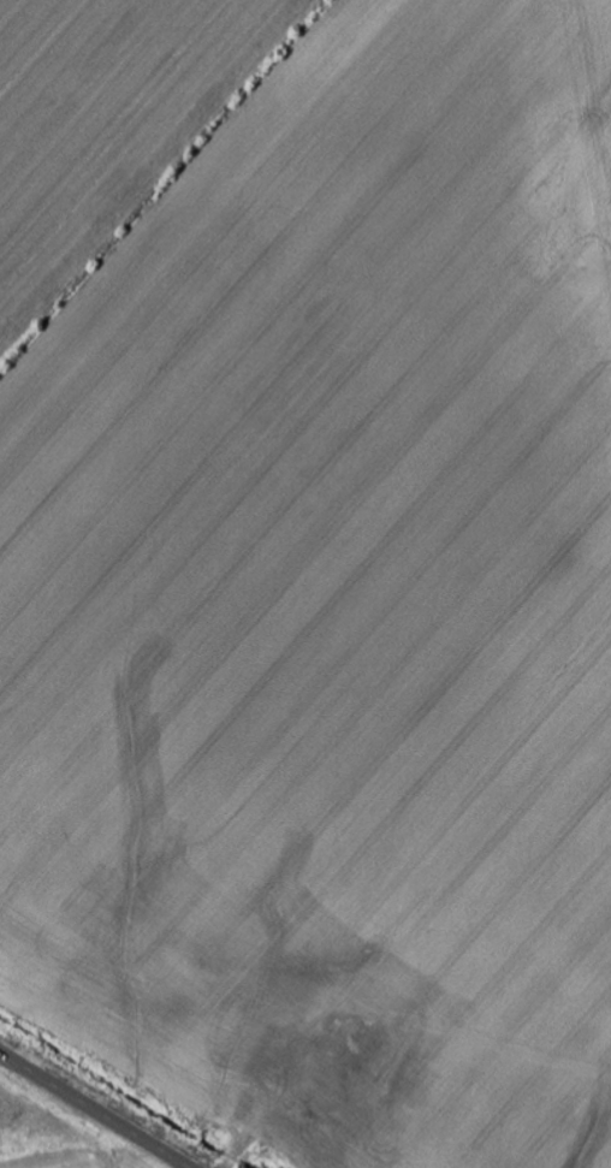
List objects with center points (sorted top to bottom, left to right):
road: (271, 1097)
road: (93, 1110)

